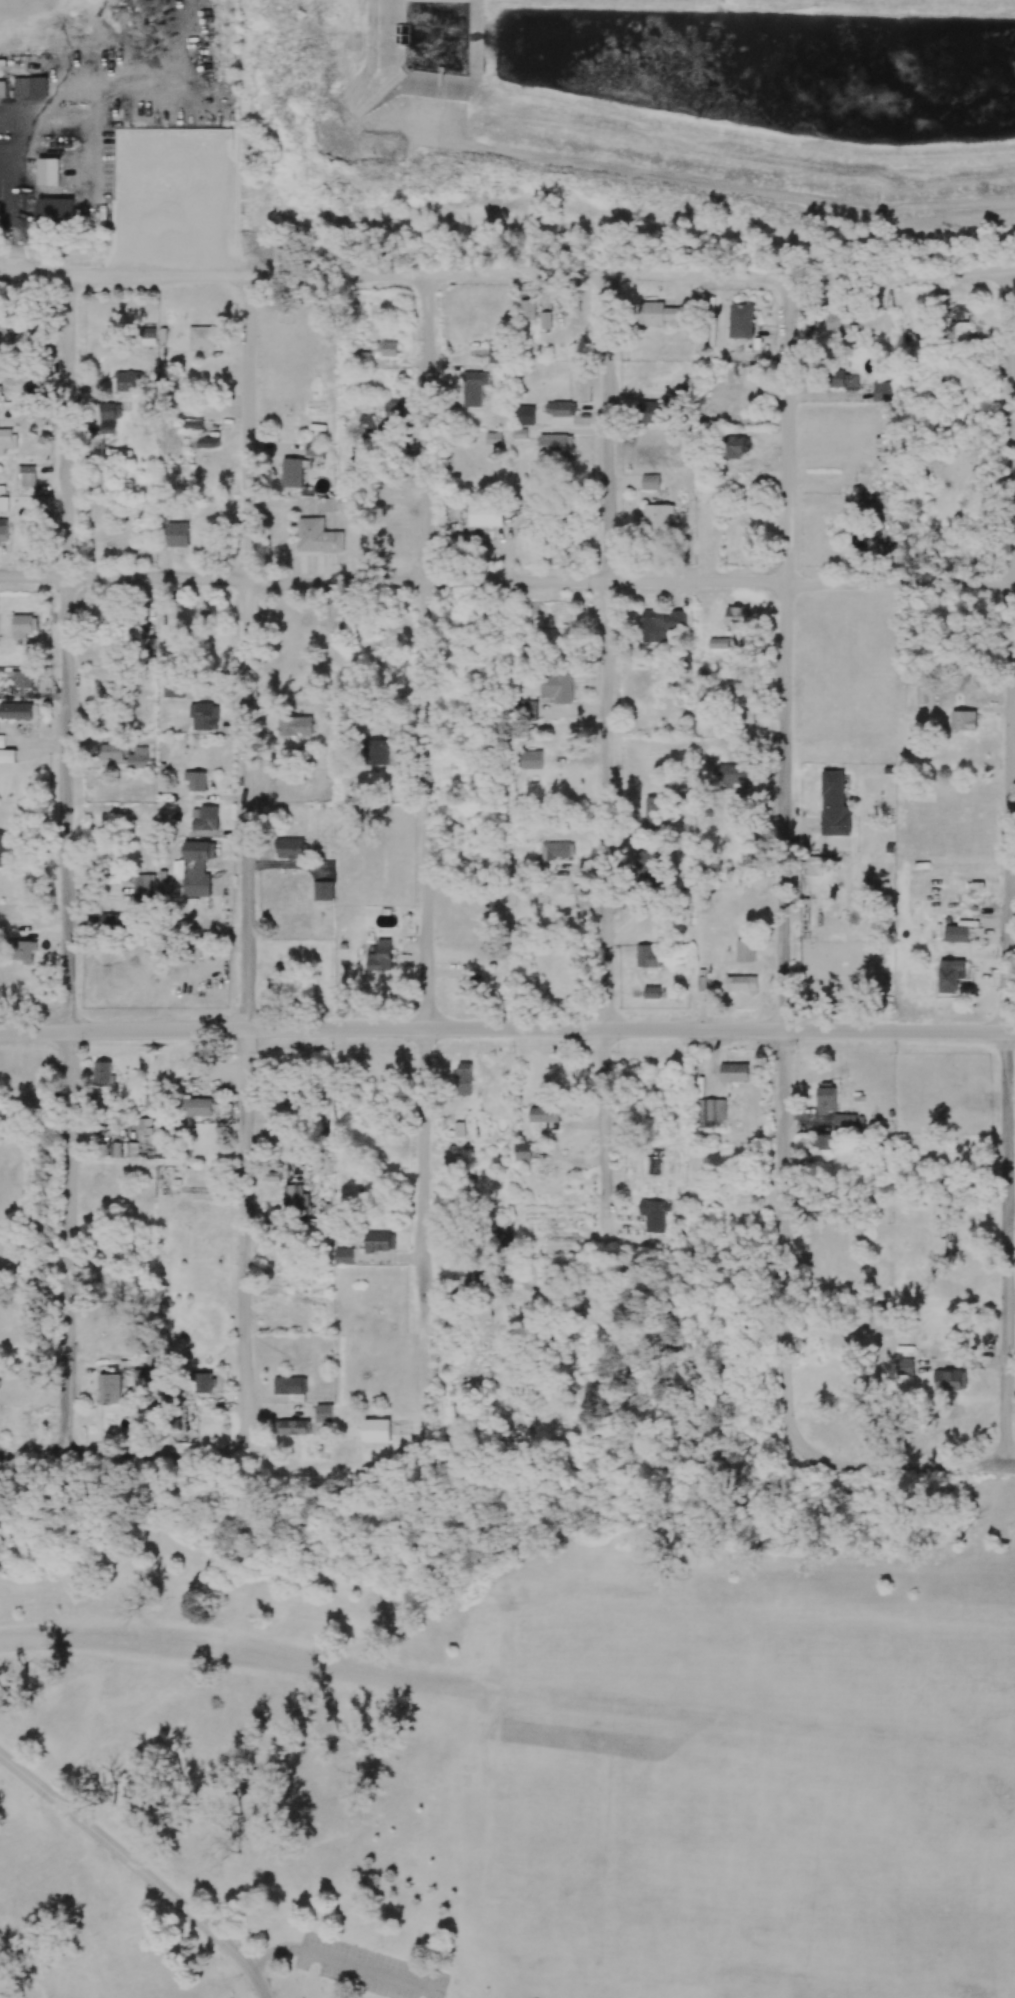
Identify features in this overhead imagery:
building: (30, 86)
building: (3, 88)
building: (48, 172)
building: (0, 212)
building: (55, 212)
road: (507, 272)
building: (527, 310)
building: (659, 314)
building: (952, 319)
building: (17, 320)
building: (545, 320)
building: (741, 321)
building: (844, 321)
building: (4, 336)
building: (147, 336)
building: (201, 337)
building: (387, 348)
building: (497, 352)
building: (360, 357)
building: (19, 377)
building: (840, 377)
building: (127, 381)
building: (474, 388)
building: (0, 391)
building: (882, 391)
building: (684, 396)
building: (394, 406)
building: (560, 409)
building: (654, 412)
building: (525, 414)
building: (108, 417)
building: (192, 424)
building: (365, 424)
building: (493, 438)
building: (7, 439)
building: (208, 442)
building: (555, 445)
building: (736, 446)
building: (314, 449)
building: (292, 472)
building: (26, 476)
building: (650, 482)
building: (3, 503)
building: (325, 505)
building: (485, 514)
building: (656, 521)
building: (177, 534)
building: (317, 536)
building: (862, 538)
street lamp: (258, 570)
road: (507, 581)
building: (108, 615)
building: (737, 615)
building: (664, 624)
building: (24, 625)
building: (717, 643)
building: (23, 679)
building: (110, 680)
building: (173, 684)
building: (557, 687)
building: (741, 688)
building: (527, 710)
building: (16, 711)
building: (204, 716)
building: (963, 720)
building: (295, 726)
building: (1, 741)
building: (125, 754)
building: (7, 755)
building: (531, 759)
building: (732, 774)
building: (196, 780)
building: (834, 805)
building: (652, 811)
building: (206, 818)
building: (291, 848)
building: (5, 849)
building: (556, 850)
road: (426, 860)
road: (605, 862)
road: (246, 864)
building: (648, 865)
road: (66, 866)
building: (197, 868)
road: (784, 869)
road: (1009, 869)
building: (144, 889)
building: (324, 891)
building: (114, 920)
building: (956, 934)
building: (24, 951)
building: (744, 951)
building: (380, 956)
building: (646, 956)
building: (950, 975)
building: (741, 983)
building: (470, 985)
building: (651, 992)
road: (507, 1029)
street lamp: (82, 1051)
street lamp: (256, 1052)
street lamp: (436, 1052)
street lamp: (796, 1052)
street lamp: (617, 1053)
building: (103, 1071)
building: (734, 1072)
building: (464, 1079)
building: (826, 1098)
building: (196, 1107)
building: (710, 1111)
building: (545, 1117)
building: (849, 1123)
building: (152, 1131)
building: (823, 1142)
street lamp: (592, 1143)
building: (131, 1149)
building: (523, 1151)
building: (296, 1198)
building: (653, 1214)
building: (380, 1241)
building: (343, 1256)
building: (464, 1276)
building: (904, 1366)
building: (143, 1376)
building: (950, 1380)
building: (203, 1382)
building: (290, 1386)
building: (109, 1388)
building: (324, 1413)
building: (292, 1427)
building: (376, 1430)
road: (511, 1447)
road: (117, 1457)
road: (861, 1468)
park: (505, 1772)
road: (138, 1870)
parking lot: (358, 1966)

